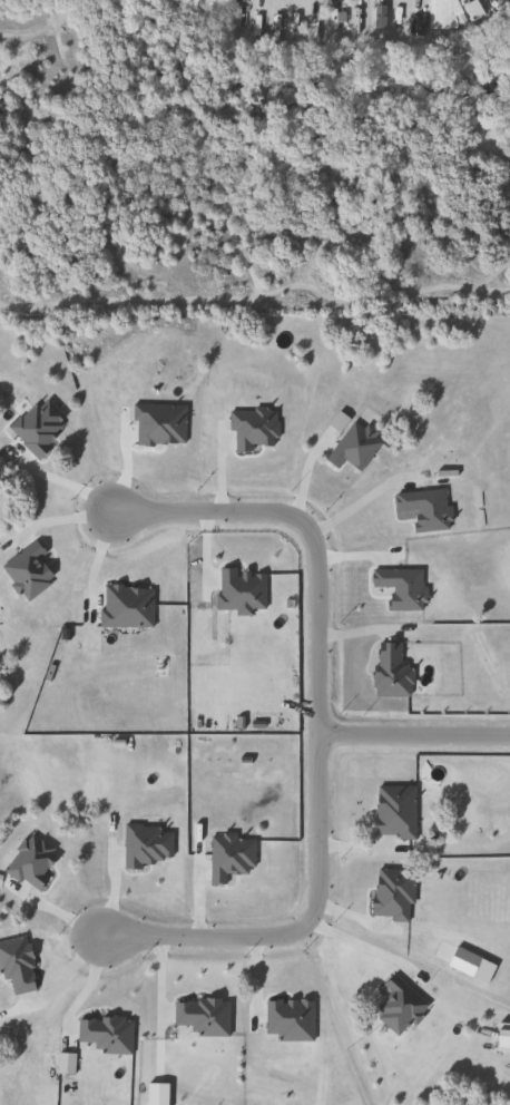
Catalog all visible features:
building: (202, 2)
road: (354, 503)
road: (315, 623)
building: (20, 651)
road: (292, 930)
road: (355, 943)

